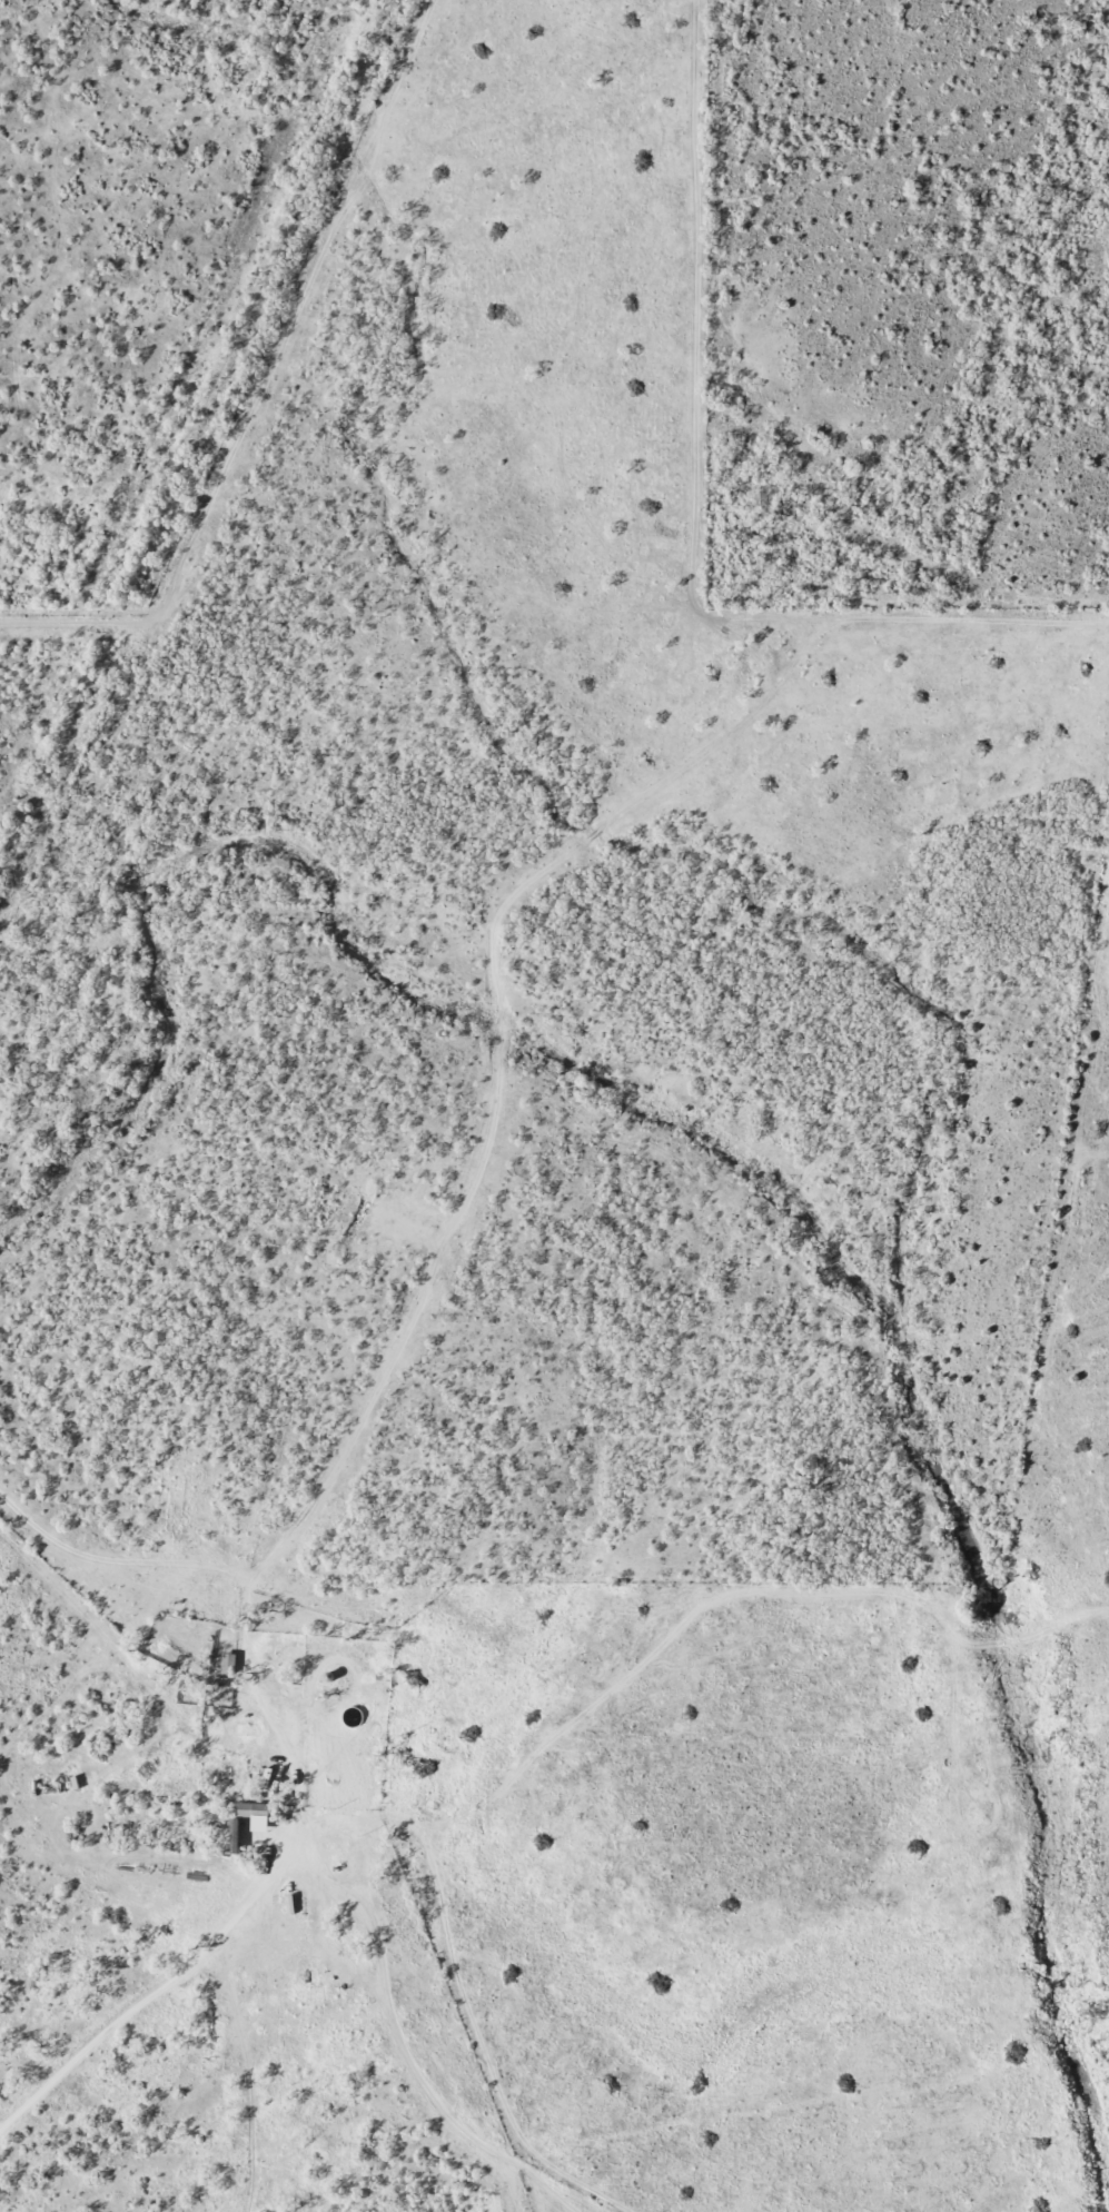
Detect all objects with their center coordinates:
building: (258, 1815)

